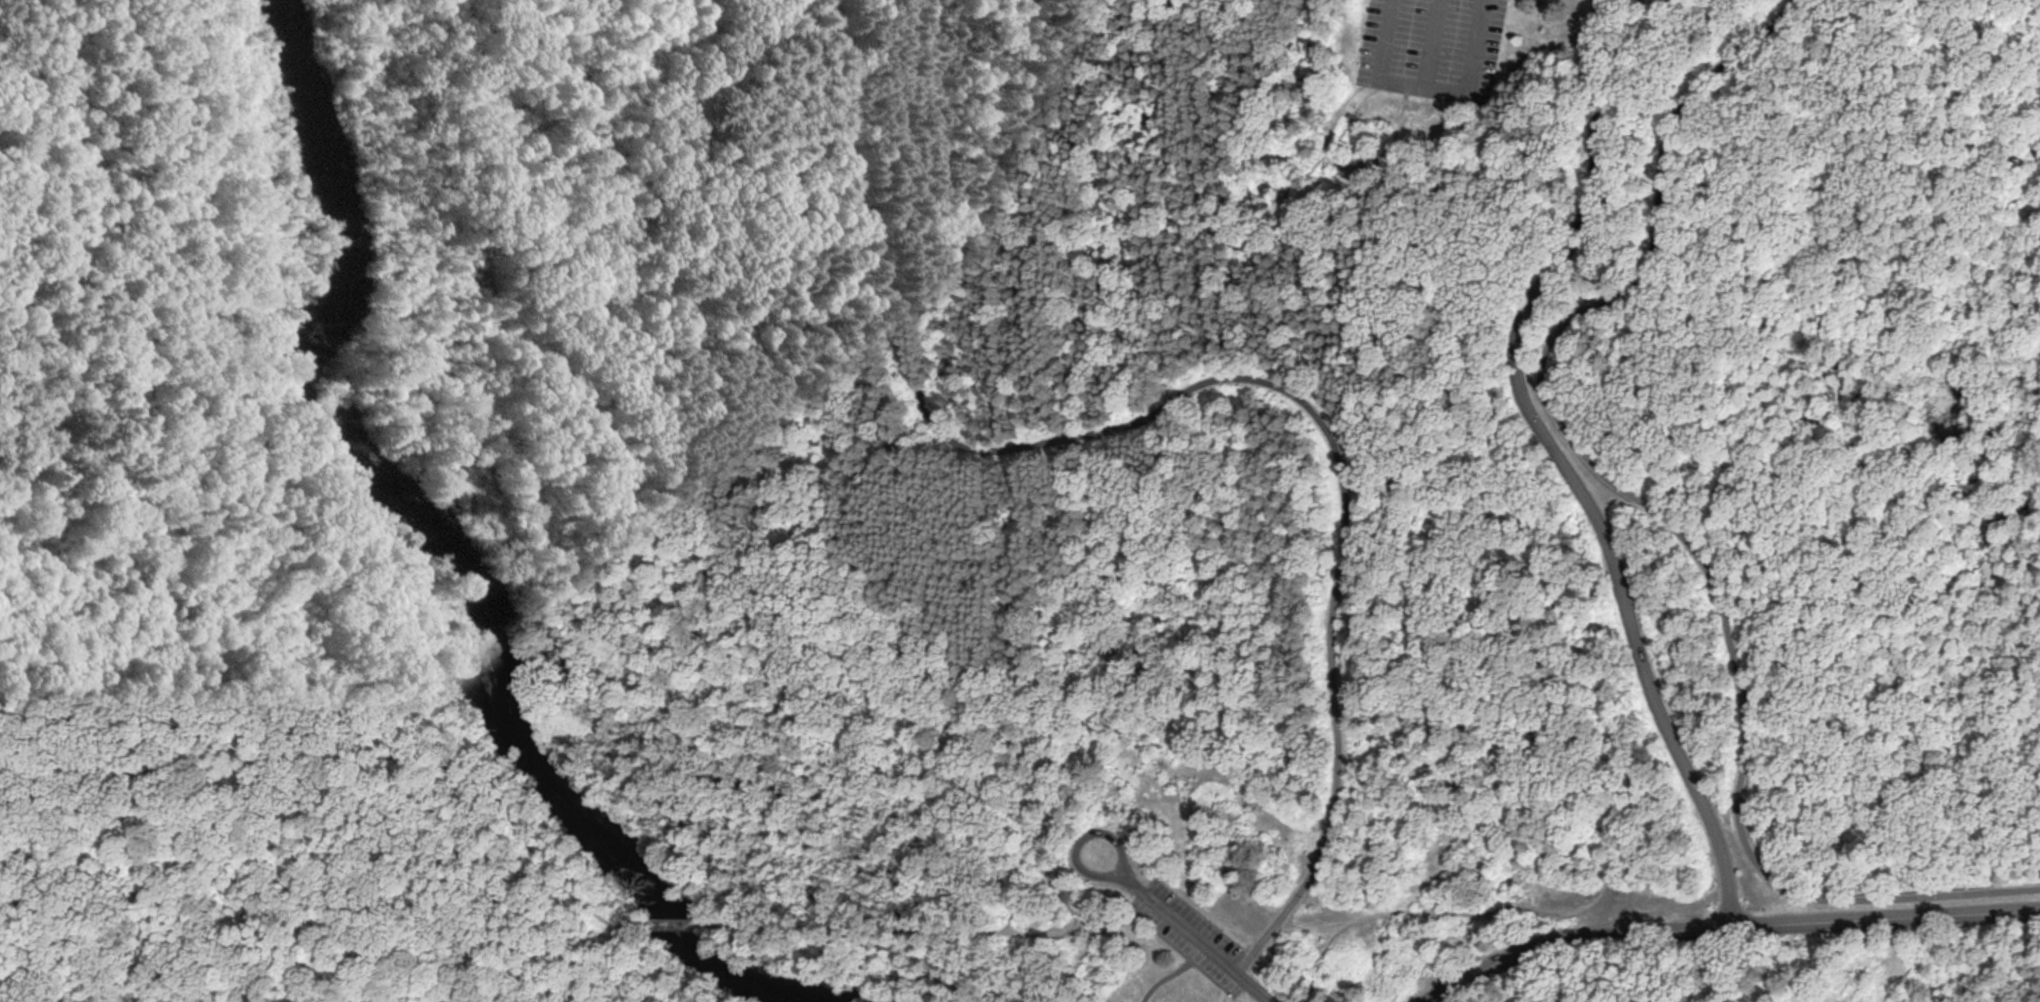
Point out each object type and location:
road: (1225, 0)
road: (1547, 3)
road: (1431, 41)
parking lot: (1432, 47)
road: (1430, 84)
road: (1368, 94)
building: (1351, 116)
road: (133, 342)
road: (997, 346)
road: (1196, 385)
road: (1758, 454)
road: (1562, 461)
road: (1135, 473)
park: (1020, 501)
road: (1658, 513)
river: (443, 565)
road: (1438, 694)
road: (295, 702)
road: (362, 707)
road: (340, 752)
road: (130, 770)
road: (528, 843)
road: (1077, 858)
road: (1059, 865)
park: (1241, 910)
road: (675, 922)
road: (1721, 924)
road: (856, 926)
road: (1105, 929)
parking lot: (1191, 932)
road: (1196, 934)
road: (1183, 952)
road: (1075, 961)
road: (1165, 979)
road: (1222, 995)
building: (1125, 1001)

